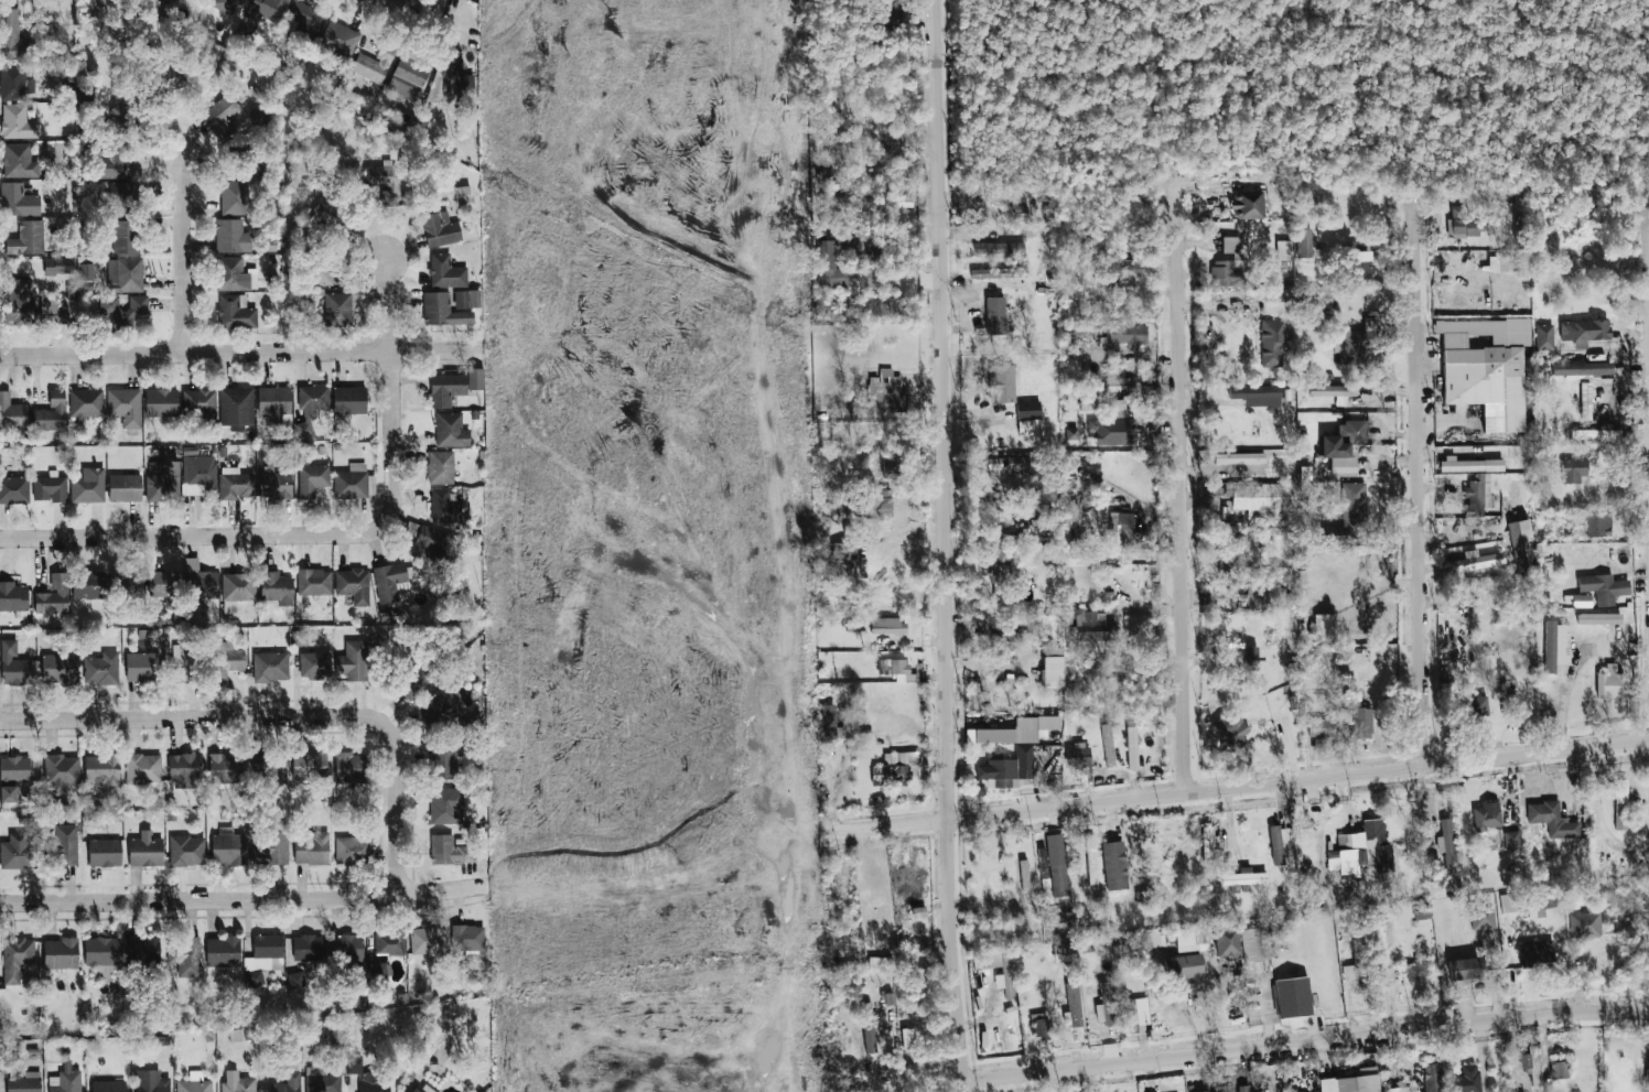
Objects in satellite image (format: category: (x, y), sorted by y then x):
building: (227, 3)
building: (266, 10)
building: (890, 13)
road: (416, 18)
building: (306, 19)
building: (10, 33)
building: (339, 39)
building: (374, 65)
building: (451, 77)
building: (409, 78)
building: (14, 83)
building: (121, 112)
building: (222, 117)
building: (18, 122)
building: (893, 144)
building: (19, 161)
building: (111, 164)
building: (384, 181)
building: (464, 194)
building: (234, 197)
building: (1012, 199)
building: (18, 201)
building: (850, 203)
building: (1241, 205)
building: (1464, 225)
building: (440, 229)
building: (125, 236)
building: (231, 236)
building: (26, 238)
road: (179, 242)
building: (1304, 242)
building: (863, 248)
building: (1000, 248)
building: (1284, 255)
building: (1228, 263)
building: (1502, 263)
building: (60, 266)
building: (1120, 270)
building: (86, 271)
building: (1359, 271)
building: (446, 272)
building: (323, 273)
building: (125, 274)
building: (235, 274)
building: (851, 277)
building: (1273, 303)
road: (386, 304)
building: (19, 307)
building: (451, 307)
building: (53, 310)
building: (123, 310)
building: (337, 310)
building: (235, 312)
building: (995, 315)
building: (1591, 329)
building: (1125, 334)
building: (1544, 336)
building: (1360, 340)
building: (1273, 343)
road: (242, 352)
building: (1486, 368)
building: (1582, 368)
building: (476, 378)
building: (1002, 383)
building: (446, 389)
building: (891, 389)
building: (1334, 390)
building: (1257, 394)
building: (349, 400)
building: (1586, 401)
building: (161, 402)
building: (85, 403)
building: (273, 403)
building: (200, 404)
building: (125, 406)
building: (311, 407)
building: (236, 408)
road: (942, 409)
building: (1026, 410)
building: (12, 412)
building: (52, 413)
building: (451, 430)
building: (1112, 431)
building: (1596, 434)
building: (1341, 443)
building: (1007, 463)
building: (1470, 465)
building: (441, 467)
building: (892, 471)
building: (1574, 471)
building: (198, 475)
building: (312, 479)
building: (163, 483)
building: (276, 483)
building: (354, 483)
building: (235, 484)
building: (88, 486)
road: (1416, 486)
building: (50, 488)
building: (125, 488)
building: (14, 489)
building: (1214, 490)
building: (1084, 493)
building: (1478, 494)
road: (1181, 496)
building: (1262, 497)
building: (445, 506)
building: (877, 507)
building: (1348, 513)
building: (1598, 525)
building: (1121, 530)
road: (279, 536)
building: (1070, 536)
building: (1519, 536)
building: (430, 541)
building: (847, 550)
building: (1478, 561)
building: (1081, 562)
building: (1003, 577)
building: (200, 581)
building: (389, 581)
building: (314, 582)
building: (128, 583)
building: (162, 583)
building: (88, 585)
building: (354, 585)
building: (238, 586)
building: (277, 587)
building: (1606, 591)
building: (53, 596)
building: (12, 597)
building: (1272, 599)
building: (1582, 601)
building: (229, 607)
building: (1598, 618)
building: (1090, 626)
building: (888, 629)
building: (1323, 630)
building: (1015, 635)
building: (299, 638)
building: (1560, 646)
building: (1251, 655)
building: (224, 661)
building: (353, 661)
building: (183, 664)
building: (314, 664)
building: (13, 666)
building: (142, 667)
building: (271, 667)
building: (58, 668)
building: (899, 668)
building: (1054, 668)
building: (101, 669)
road: (1572, 669)
building: (414, 682)
building: (1612, 682)
building: (1472, 707)
building: (443, 709)
building: (831, 717)
road: (278, 718)
building: (1360, 723)
building: (1321, 727)
building: (1232, 729)
building: (1015, 731)
building: (867, 738)
building: (1108, 745)
building: (1134, 747)
building: (1077, 757)
building: (444, 761)
building: (271, 765)
building: (309, 766)
building: (352, 766)
building: (14, 768)
building: (143, 768)
building: (226, 768)
building: (1001, 768)
building: (185, 769)
building: (895, 769)
building: (101, 770)
building: (61, 772)
road: (1248, 787)
building: (980, 789)
building: (1648, 790)
building: (8, 794)
building: (1621, 804)
building: (448, 806)
road: (1600, 815)
building: (1487, 818)
building: (1552, 821)
building: (1442, 834)
building: (1207, 839)
building: (273, 843)
building: (1348, 843)
building: (1377, 843)
building: (1512, 843)
building: (62, 846)
building: (224, 846)
building: (1278, 846)
building: (311, 847)
building: (145, 850)
building: (353, 850)
building: (18, 851)
building: (186, 851)
building: (451, 851)
building: (105, 853)
building: (1114, 865)
building: (1044, 872)
building: (1024, 874)
building: (1435, 874)
building: (994, 875)
building: (1058, 879)
building: (1244, 879)
road: (443, 888)
building: (905, 889)
road: (197, 896)
building: (1507, 902)
building: (1535, 904)
building: (1422, 916)
building: (1483, 918)
building: (1585, 926)
building: (1178, 937)
building: (468, 938)
building: (428, 940)
building: (1225, 941)
building: (389, 943)
building: (1254, 943)
building: (308, 948)
building: (346, 948)
building: (142, 950)
building: (1381, 950)
building: (223, 951)
road: (951, 951)
building: (1537, 951)
building: (61, 953)
building: (266, 953)
building: (101, 954)
building: (184, 955)
building: (17, 959)
building: (1360, 961)
building: (881, 963)
building: (1183, 966)
building: (1465, 970)
building: (1419, 971)
building: (381, 972)
building: (1005, 977)
building: (295, 979)
building: (257, 980)
building: (1292, 997)
building: (890, 998)
building: (1023, 1004)
building: (1074, 1005)
building: (1104, 1005)
building: (1132, 1013)
building: (1039, 1026)
building: (869, 1028)
road: (1305, 1042)
building: (908, 1044)
building: (1530, 1050)
building: (354, 1066)
building: (1560, 1070)
building: (1432, 1078)
building: (322, 1080)
building: (1466, 1080)
building: (1647, 1080)
building: (151, 1081)
building: (25, 1082)
building: (65, 1082)
building: (237, 1082)
building: (194, 1083)
building: (288, 1083)
building: (375, 1083)
building: (1357, 1084)
building: (108, 1085)
road: (963, 1088)
building: (427, 1089)
building: (1400, 1089)
building: (413, 1090)
building: (1207, 1091)
building: (1241, 1091)

